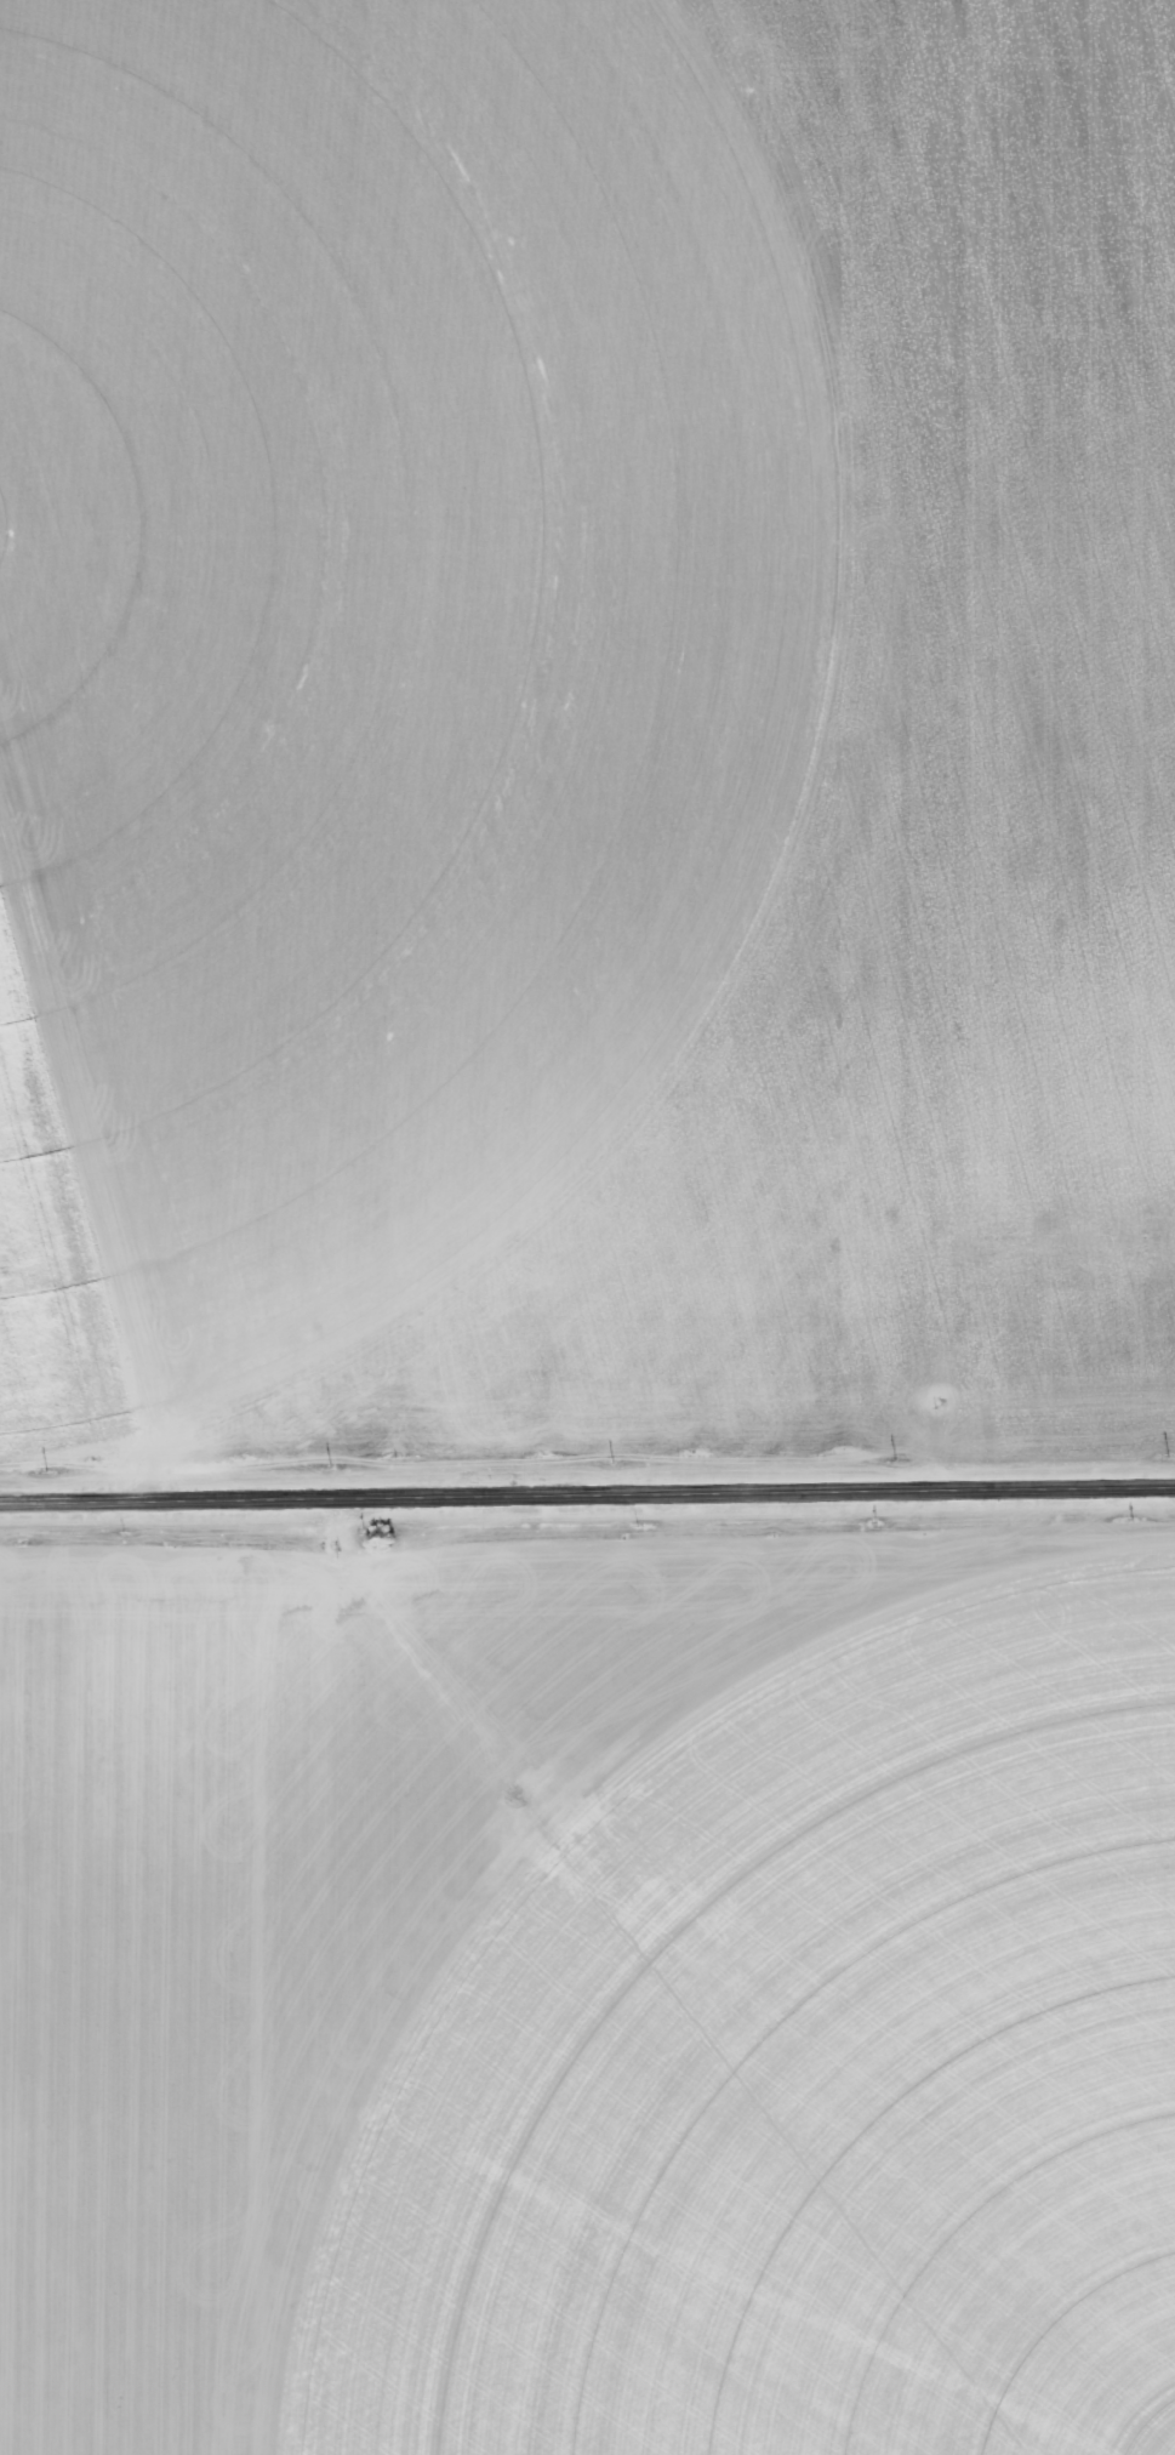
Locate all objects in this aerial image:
road: (587, 1500)

